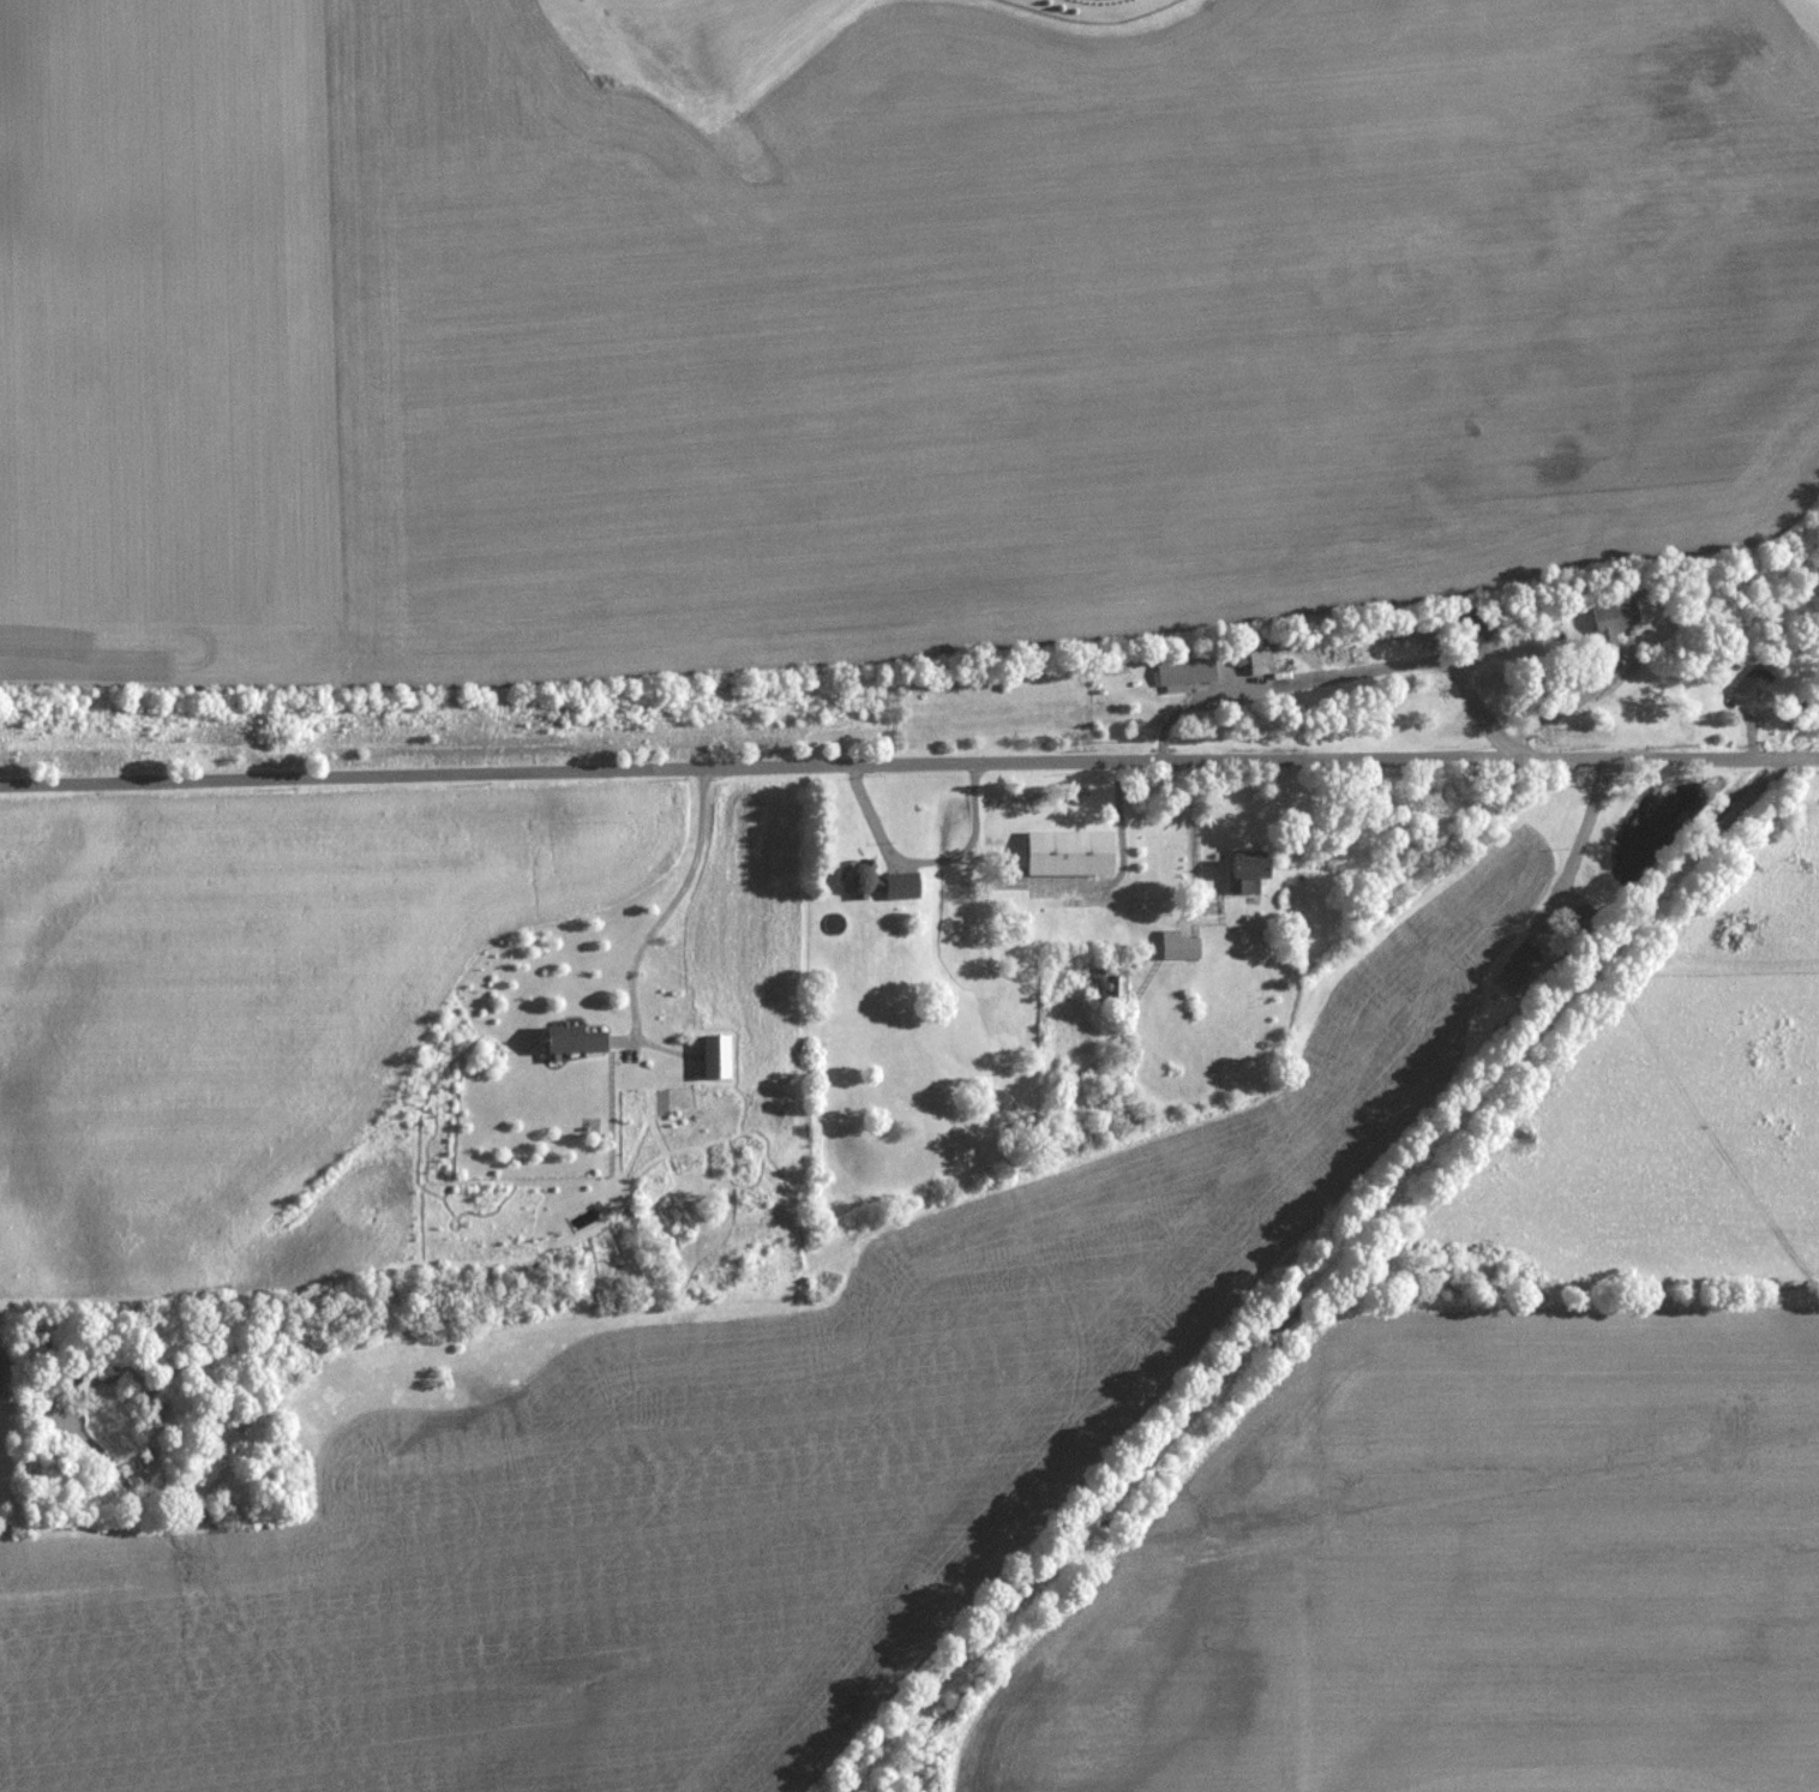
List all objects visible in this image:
building: (1608, 624)
road: (1331, 673)
building: (1181, 676)
road: (1557, 715)
road: (908, 763)
road: (1191, 829)
road: (1583, 834)
building: (1067, 855)
road: (925, 863)
building: (1241, 876)
building: (858, 883)
road: (1097, 883)
building: (900, 887)
road: (655, 928)
building: (1175, 947)
building: (1111, 991)
building: (718, 1056)

